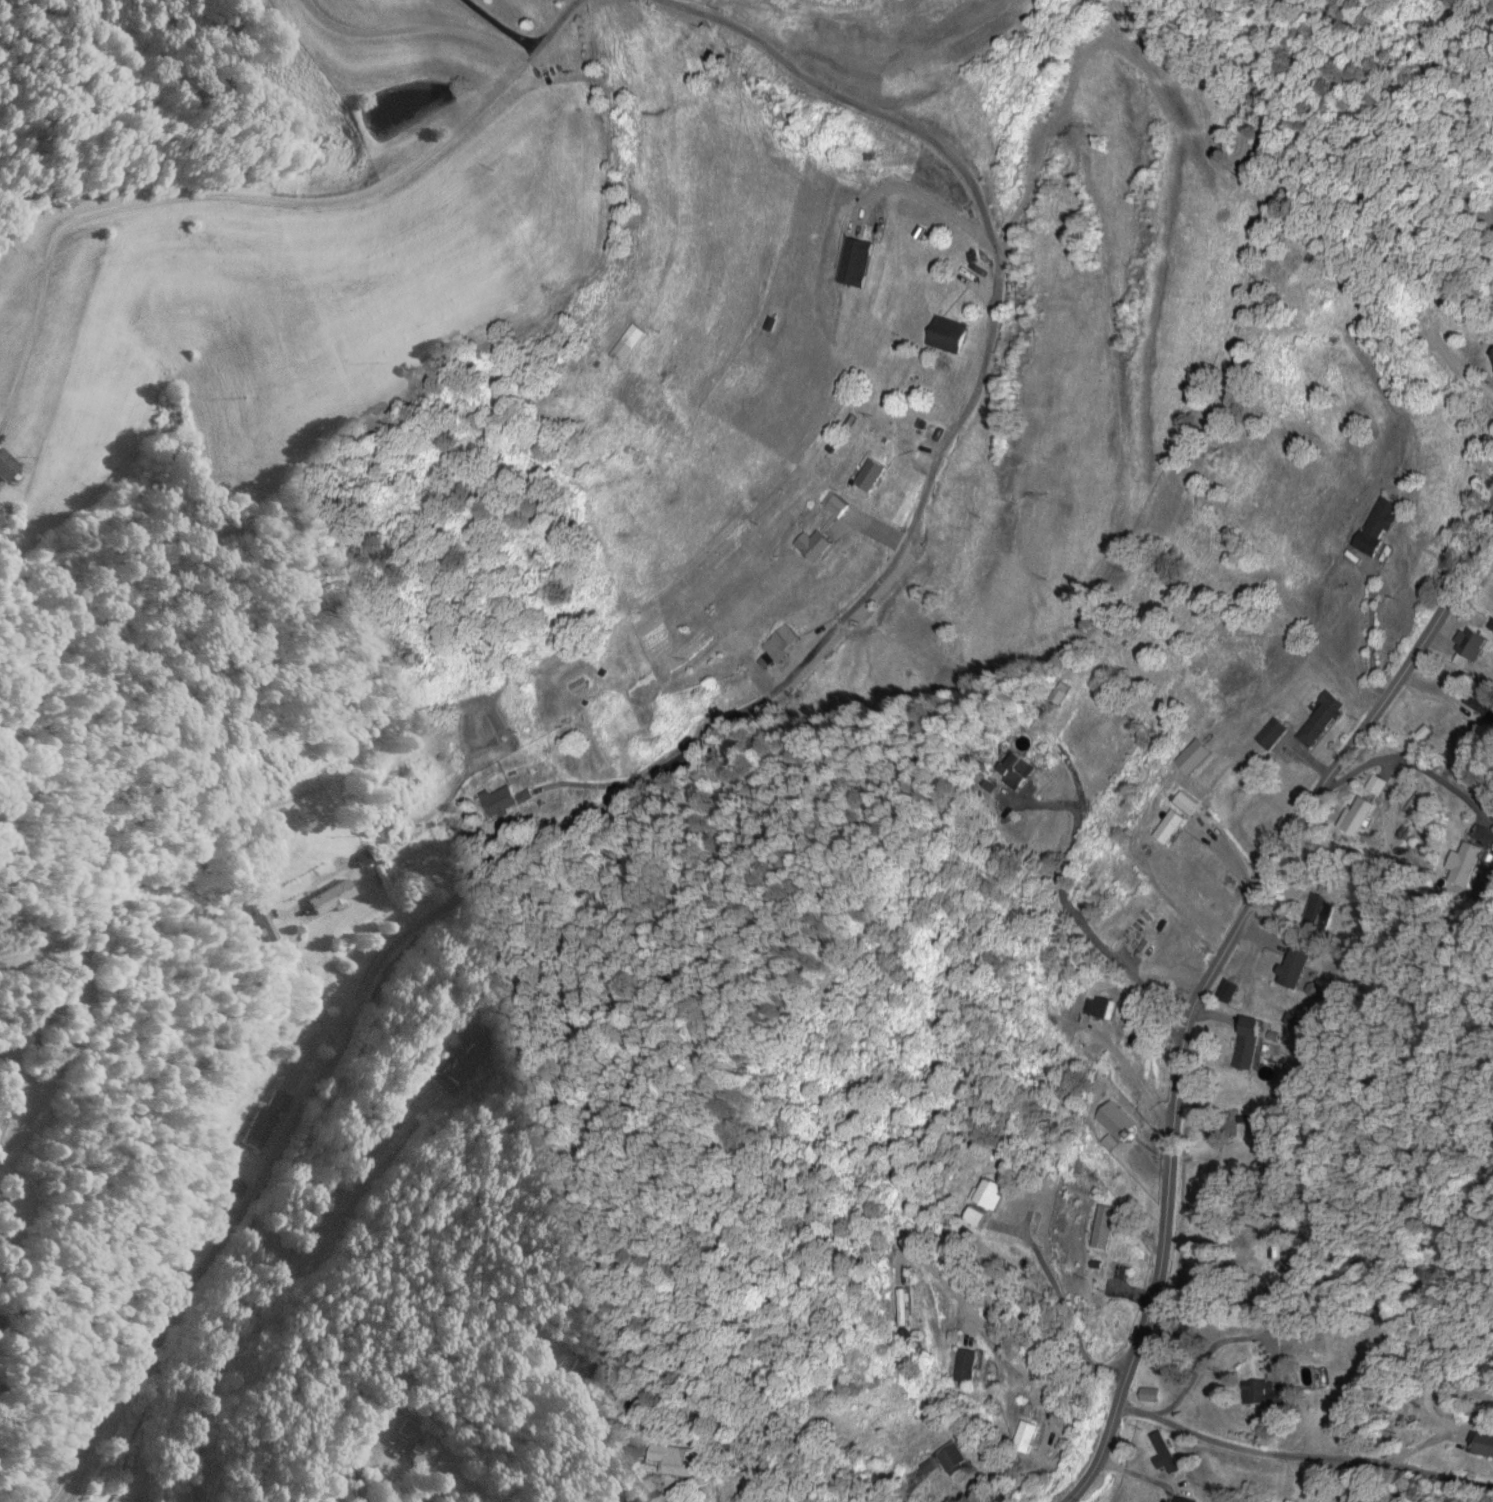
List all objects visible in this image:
road: (253, 196)
building: (855, 261)
building: (946, 333)
building: (1492, 352)
building: (5, 464)
building: (869, 473)
building: (833, 503)
building: (1376, 524)
building: (813, 544)
building: (779, 642)
building: (1469, 642)
building: (1059, 691)
building: (1479, 705)
building: (1319, 718)
building: (1270, 731)
building: (1421, 731)
road: (696, 733)
building: (1193, 755)
building: (679, 761)
road: (1406, 762)
building: (1015, 769)
building: (1375, 783)
building: (503, 799)
building: (1185, 801)
building: (1415, 801)
building: (1355, 814)
building: (1168, 825)
building: (360, 857)
building: (1463, 862)
building: (328, 895)
building: (1318, 909)
road: (1070, 913)
building: (260, 919)
building: (1292, 966)
road: (1207, 976)
building: (1226, 990)
building: (1098, 1006)
building: (1246, 1041)
building: (454, 1065)
building: (261, 1118)
building: (1115, 1119)
building: (231, 1186)
building: (987, 1193)
building: (975, 1215)
building: (1102, 1225)
road: (296, 1248)
road: (987, 1299)
building: (1094, 1301)
building: (902, 1304)
building: (964, 1364)
building: (583, 1372)
road: (1073, 1378)
building: (1261, 1391)
building: (1149, 1393)
building: (403, 1428)
building: (1024, 1433)
building: (1481, 1442)
building: (421, 1450)
building: (1163, 1452)
building: (951, 1456)
road: (1295, 1456)
building: (672, 1458)
road: (753, 1464)
building: (926, 1464)
road: (350, 1483)
building: (1180, 1499)

